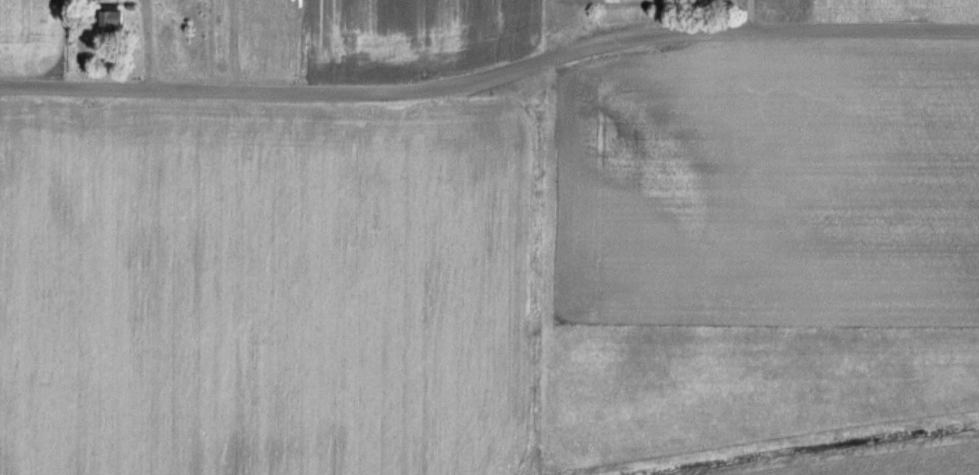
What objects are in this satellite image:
building: (114, 17)
road: (148, 42)
road: (492, 76)

